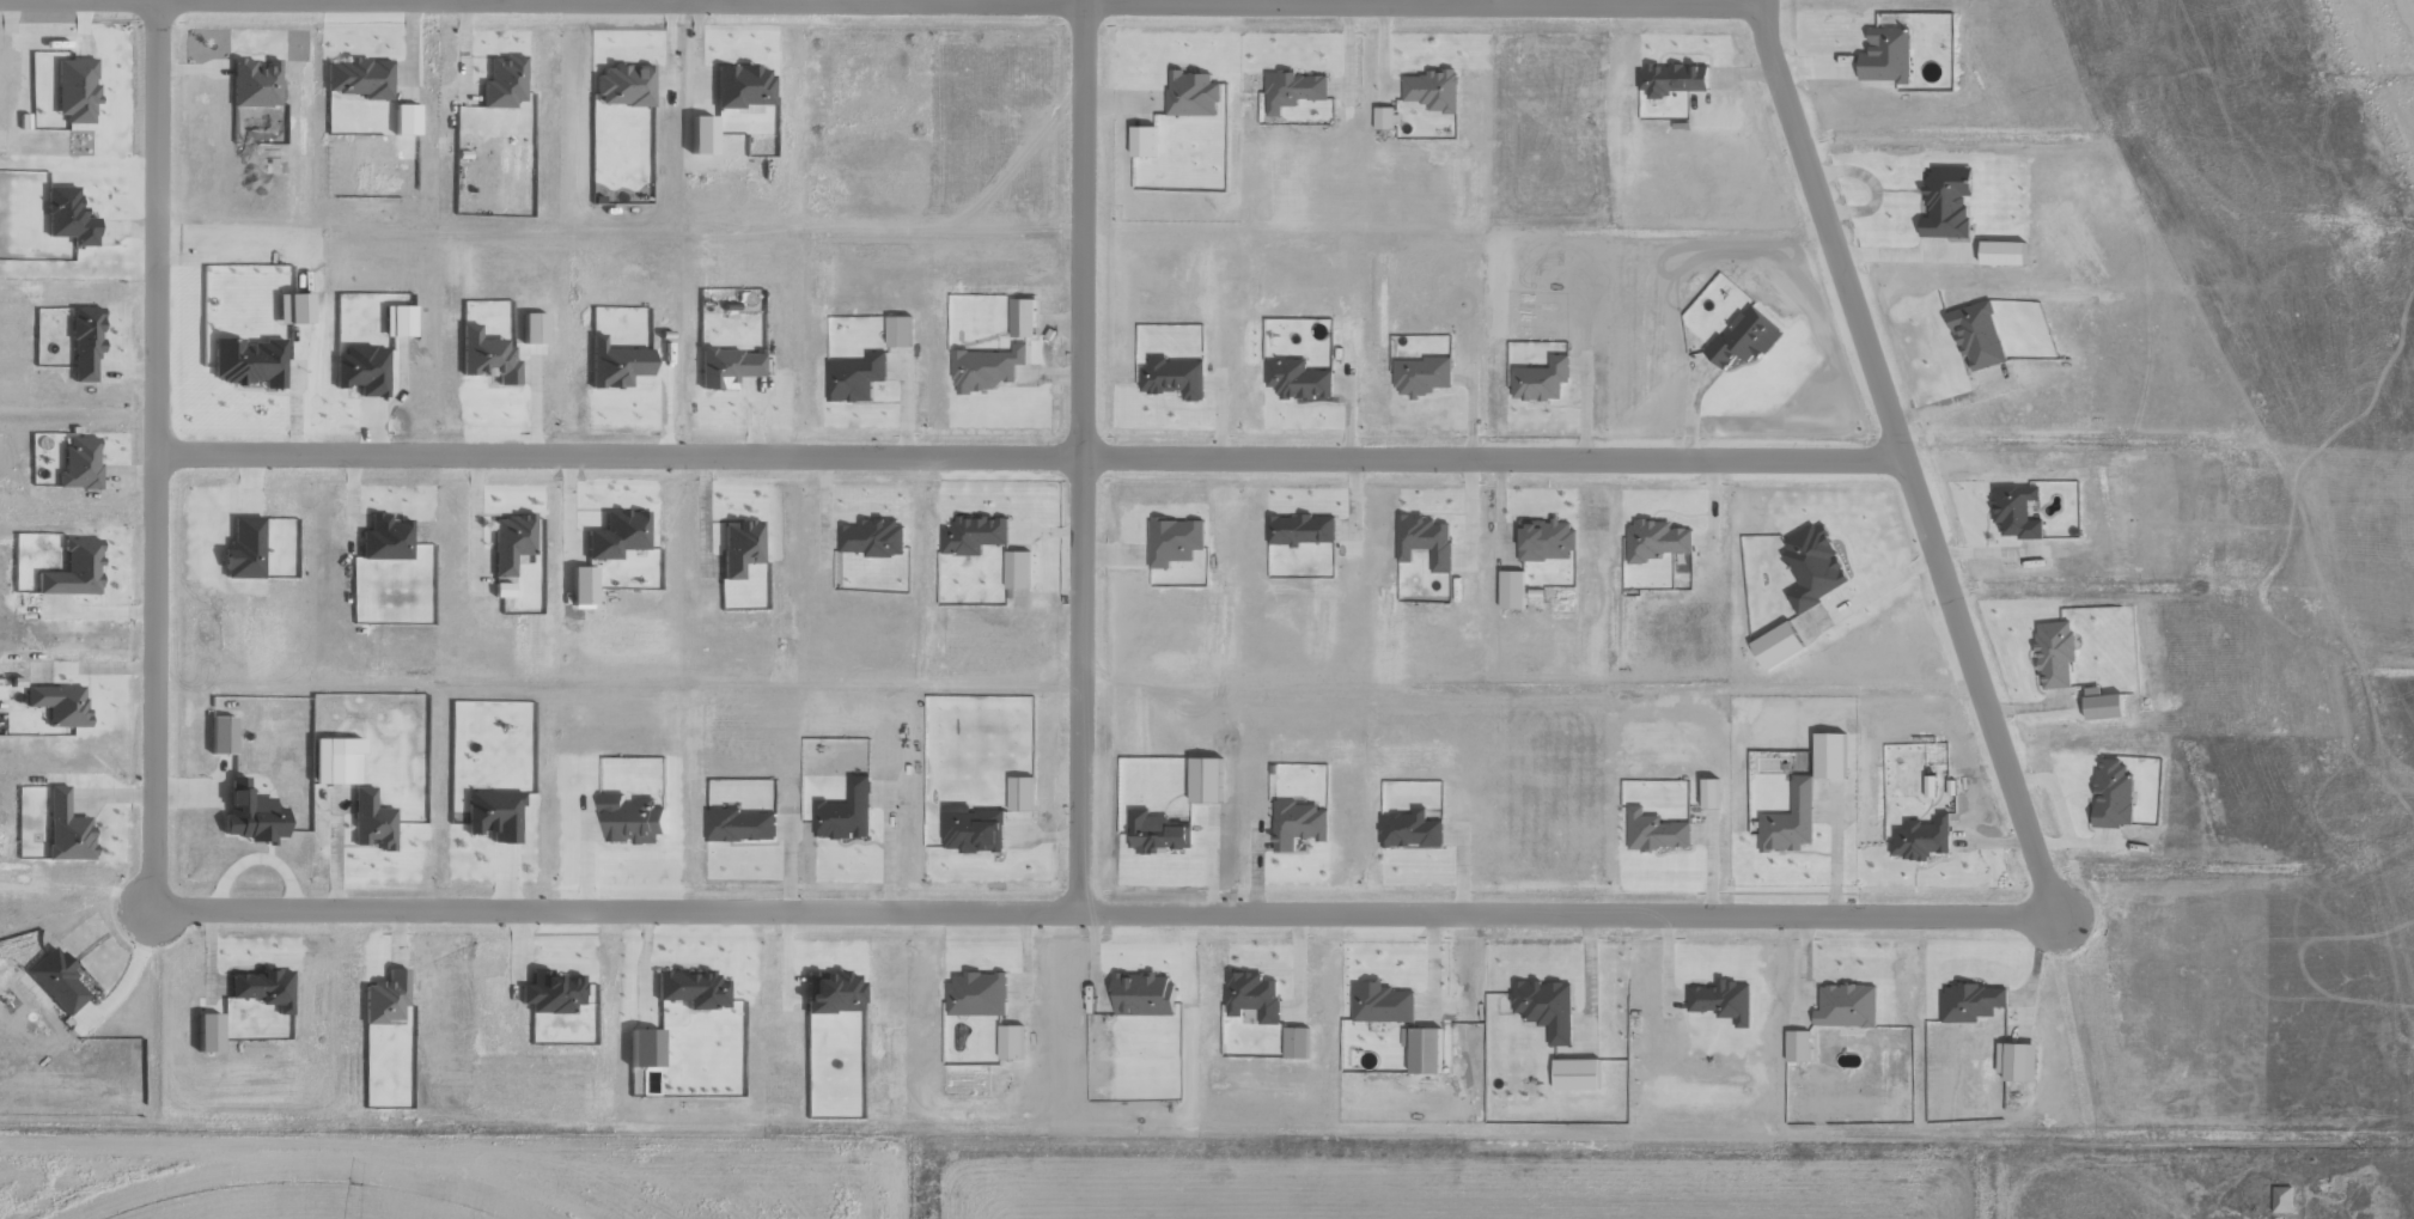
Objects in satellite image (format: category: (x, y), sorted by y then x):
road: (1190, 1)
building: (1885, 55)
building: (359, 78)
building: (1674, 79)
building: (502, 81)
building: (254, 84)
building: (623, 86)
building: (742, 86)
building: (75, 90)
building: (1292, 90)
building: (1432, 90)
building: (1191, 95)
building: (1383, 117)
building: (403, 120)
building: (699, 134)
building: (1141, 141)
building: (1945, 202)
building: (67, 217)
building: (2001, 254)
building: (291, 309)
building: (1022, 318)
building: (396, 322)
building: (897, 331)
building: (1976, 335)
building: (1742, 339)
building: (84, 345)
building: (487, 356)
building: (248, 361)
building: (614, 365)
building: (726, 367)
building: (986, 368)
building: (361, 370)
building: (1420, 376)
building: (854, 377)
building: (1172, 378)
building: (1297, 379)
building: (1540, 379)
road: (1901, 452)
road: (152, 455)
road: (1083, 456)
road: (1028, 457)
building: (79, 464)
building: (2014, 511)
building: (1300, 529)
building: (616, 534)
building: (973, 534)
building: (873, 537)
building: (384, 538)
building: (1174, 540)
building: (1424, 540)
building: (1654, 540)
building: (510, 541)
building: (738, 547)
building: (243, 548)
building: (1812, 566)
building: (73, 569)
building: (1017, 569)
building: (579, 585)
building: (1511, 589)
building: (501, 590)
building: (1775, 645)
building: (2054, 653)
building: (57, 703)
building: (2103, 706)
building: (220, 735)
building: (1828, 755)
building: (334, 761)
building: (1203, 779)
building: (1019, 793)
building: (1708, 793)
building: (2111, 793)
building: (845, 812)
building: (250, 815)
building: (493, 815)
building: (630, 819)
building: (1788, 819)
building: (371, 821)
building: (739, 824)
building: (1298, 824)
building: (65, 828)
building: (1410, 829)
building: (973, 830)
building: (1654, 830)
building: (1154, 831)
building: (1920, 837)
road: (1103, 912)
building: (56, 980)
building: (262, 987)
building: (690, 987)
building: (551, 991)
building: (831, 991)
building: (976, 993)
building: (1141, 993)
building: (1251, 995)
building: (384, 996)
building: (1723, 1000)
building: (1970, 1000)
building: (1380, 1001)
building: (1846, 1005)
building: (1544, 1006)
building: (1010, 1041)
building: (1797, 1044)
building: (641, 1047)
building: (1421, 1048)
building: (2016, 1060)
building: (1575, 1073)
building: (2281, 1199)

